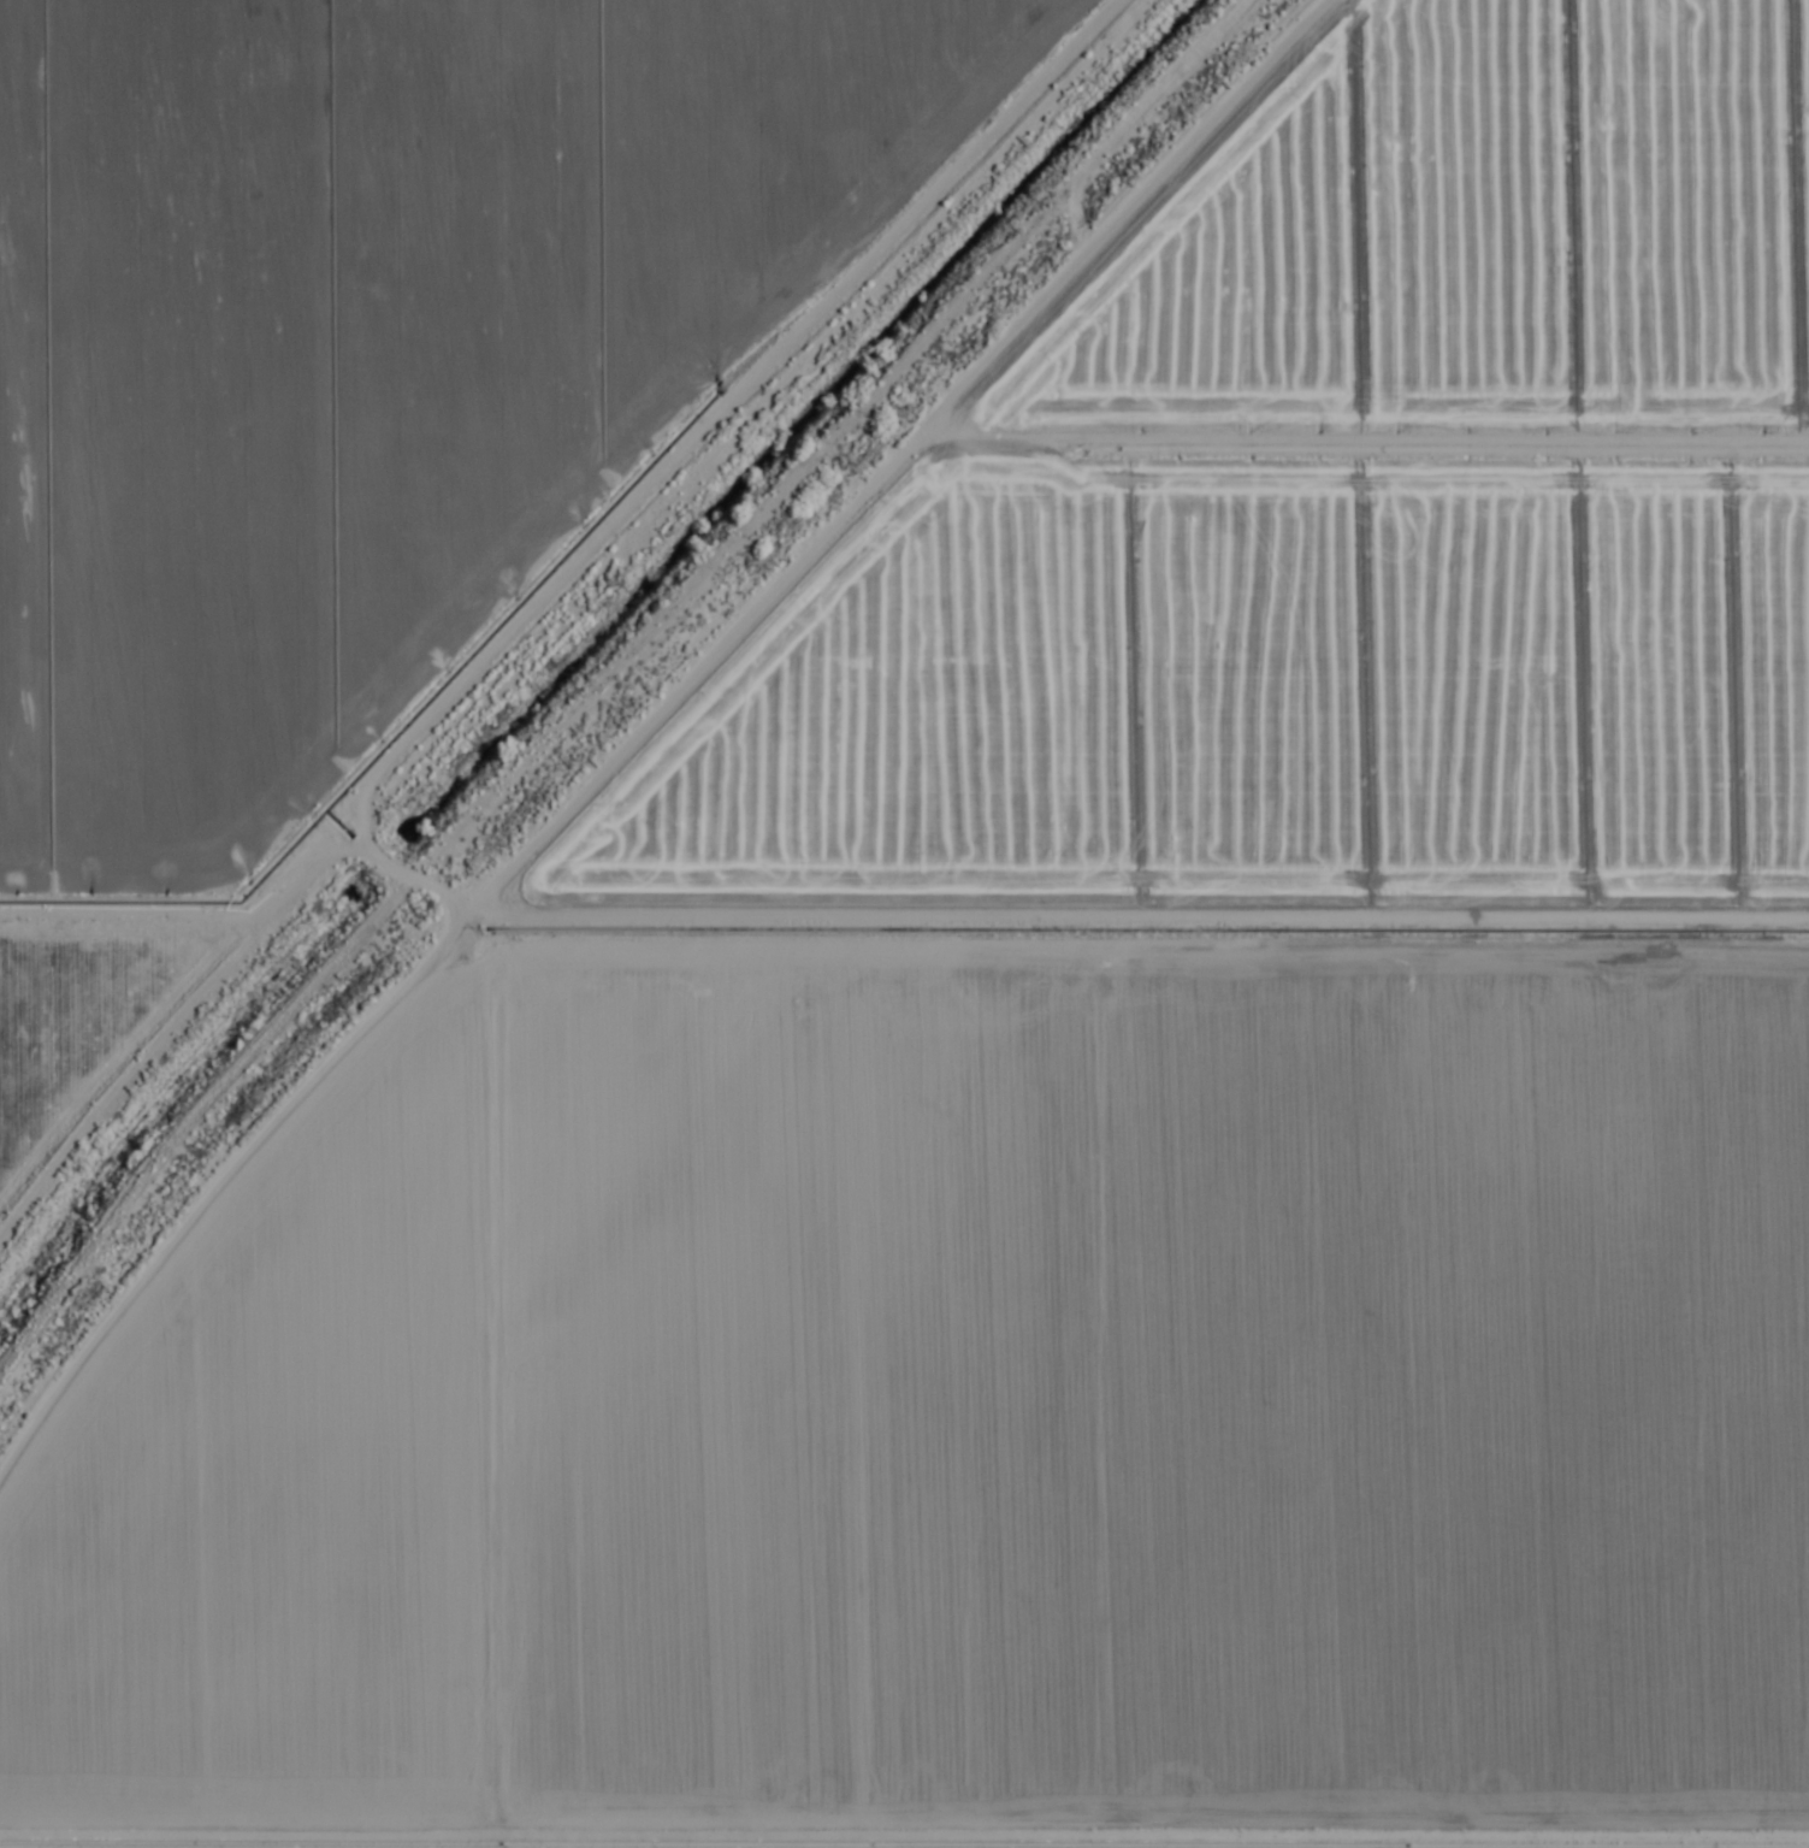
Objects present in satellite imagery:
road: (708, 921)
crop: (904, 923)

